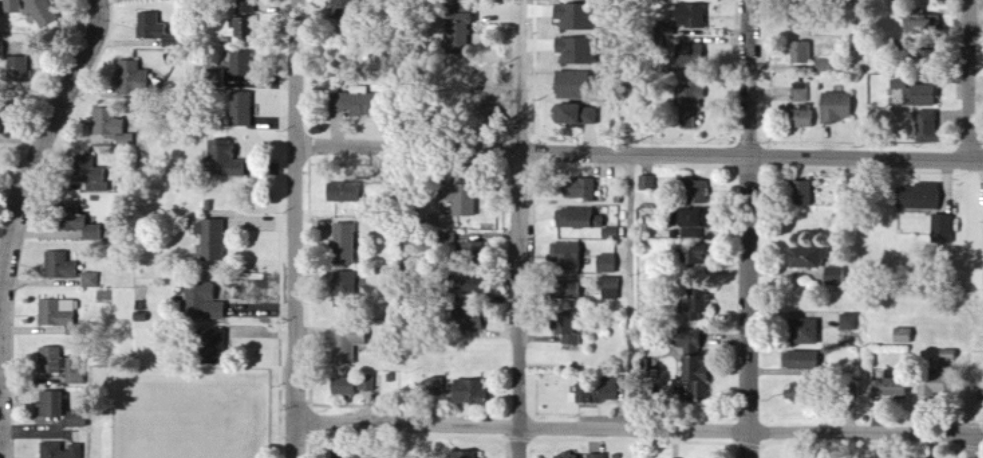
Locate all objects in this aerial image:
building: (800, 2)
building: (11, 5)
building: (243, 6)
building: (39, 7)
building: (351, 9)
building: (691, 16)
building: (800, 19)
building: (918, 23)
building: (666, 28)
building: (154, 29)
building: (250, 29)
building: (459, 35)
building: (2, 46)
building: (800, 53)
building: (690, 54)
building: (918, 56)
road: (518, 60)
building: (245, 65)
building: (824, 65)
building: (16, 67)
road: (975, 76)
building: (131, 80)
building: (572, 83)
building: (899, 84)
building: (799, 92)
building: (923, 96)
building: (688, 100)
building: (371, 106)
building: (5, 108)
building: (835, 108)
building: (245, 111)
building: (574, 113)
building: (801, 118)
building: (2, 124)
building: (110, 124)
building: (927, 128)
road: (639, 150)
building: (229, 162)
building: (88, 172)
building: (647, 181)
building: (579, 187)
building: (698, 189)
building: (802, 192)
building: (347, 193)
building: (919, 195)
building: (459, 196)
building: (577, 217)
building: (690, 217)
road: (18, 220)
building: (76, 221)
building: (942, 227)
road: (297, 228)
road: (753, 228)
building: (610, 231)
building: (675, 233)
building: (219, 241)
building: (639, 241)
building: (349, 246)
building: (471, 251)
building: (689, 252)
building: (808, 255)
building: (563, 256)
building: (605, 262)
building: (59, 264)
building: (835, 274)
building: (91, 279)
building: (609, 287)
building: (346, 288)
building: (564, 289)
road: (630, 290)
building: (698, 300)
road: (521, 303)
building: (210, 306)
building: (55, 313)
building: (466, 316)
building: (849, 321)
building: (565, 327)
building: (803, 330)
building: (902, 334)
building: (350, 344)
building: (948, 353)
building: (50, 359)
building: (801, 359)
building: (929, 365)
building: (74, 371)
building: (698, 372)
building: (391, 379)
building: (891, 383)
building: (437, 384)
building: (932, 384)
building: (851, 386)
building: (370, 388)
building: (346, 390)
building: (600, 390)
building: (469, 391)
building: (802, 391)
building: (54, 407)
building: (81, 421)
road: (525, 427)
road: (867, 435)
road: (975, 447)
building: (63, 450)
building: (466, 454)
building: (357, 455)
building: (567, 455)
building: (596, 455)

